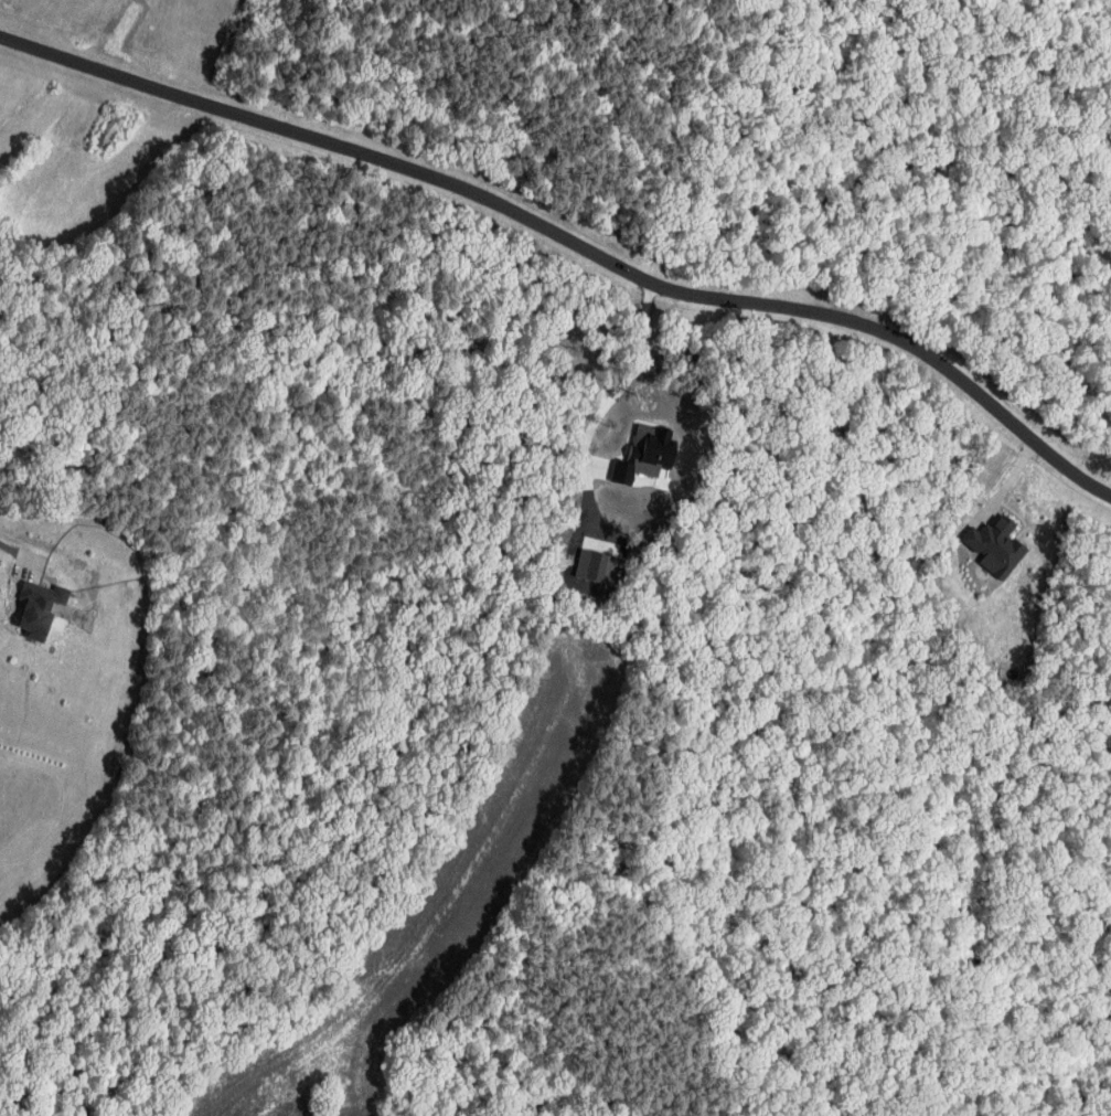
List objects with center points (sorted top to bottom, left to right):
road: (571, 240)
road: (626, 381)
building: (644, 457)
road: (1004, 475)
building: (987, 533)
road: (22, 552)
building: (597, 568)
building: (38, 602)

